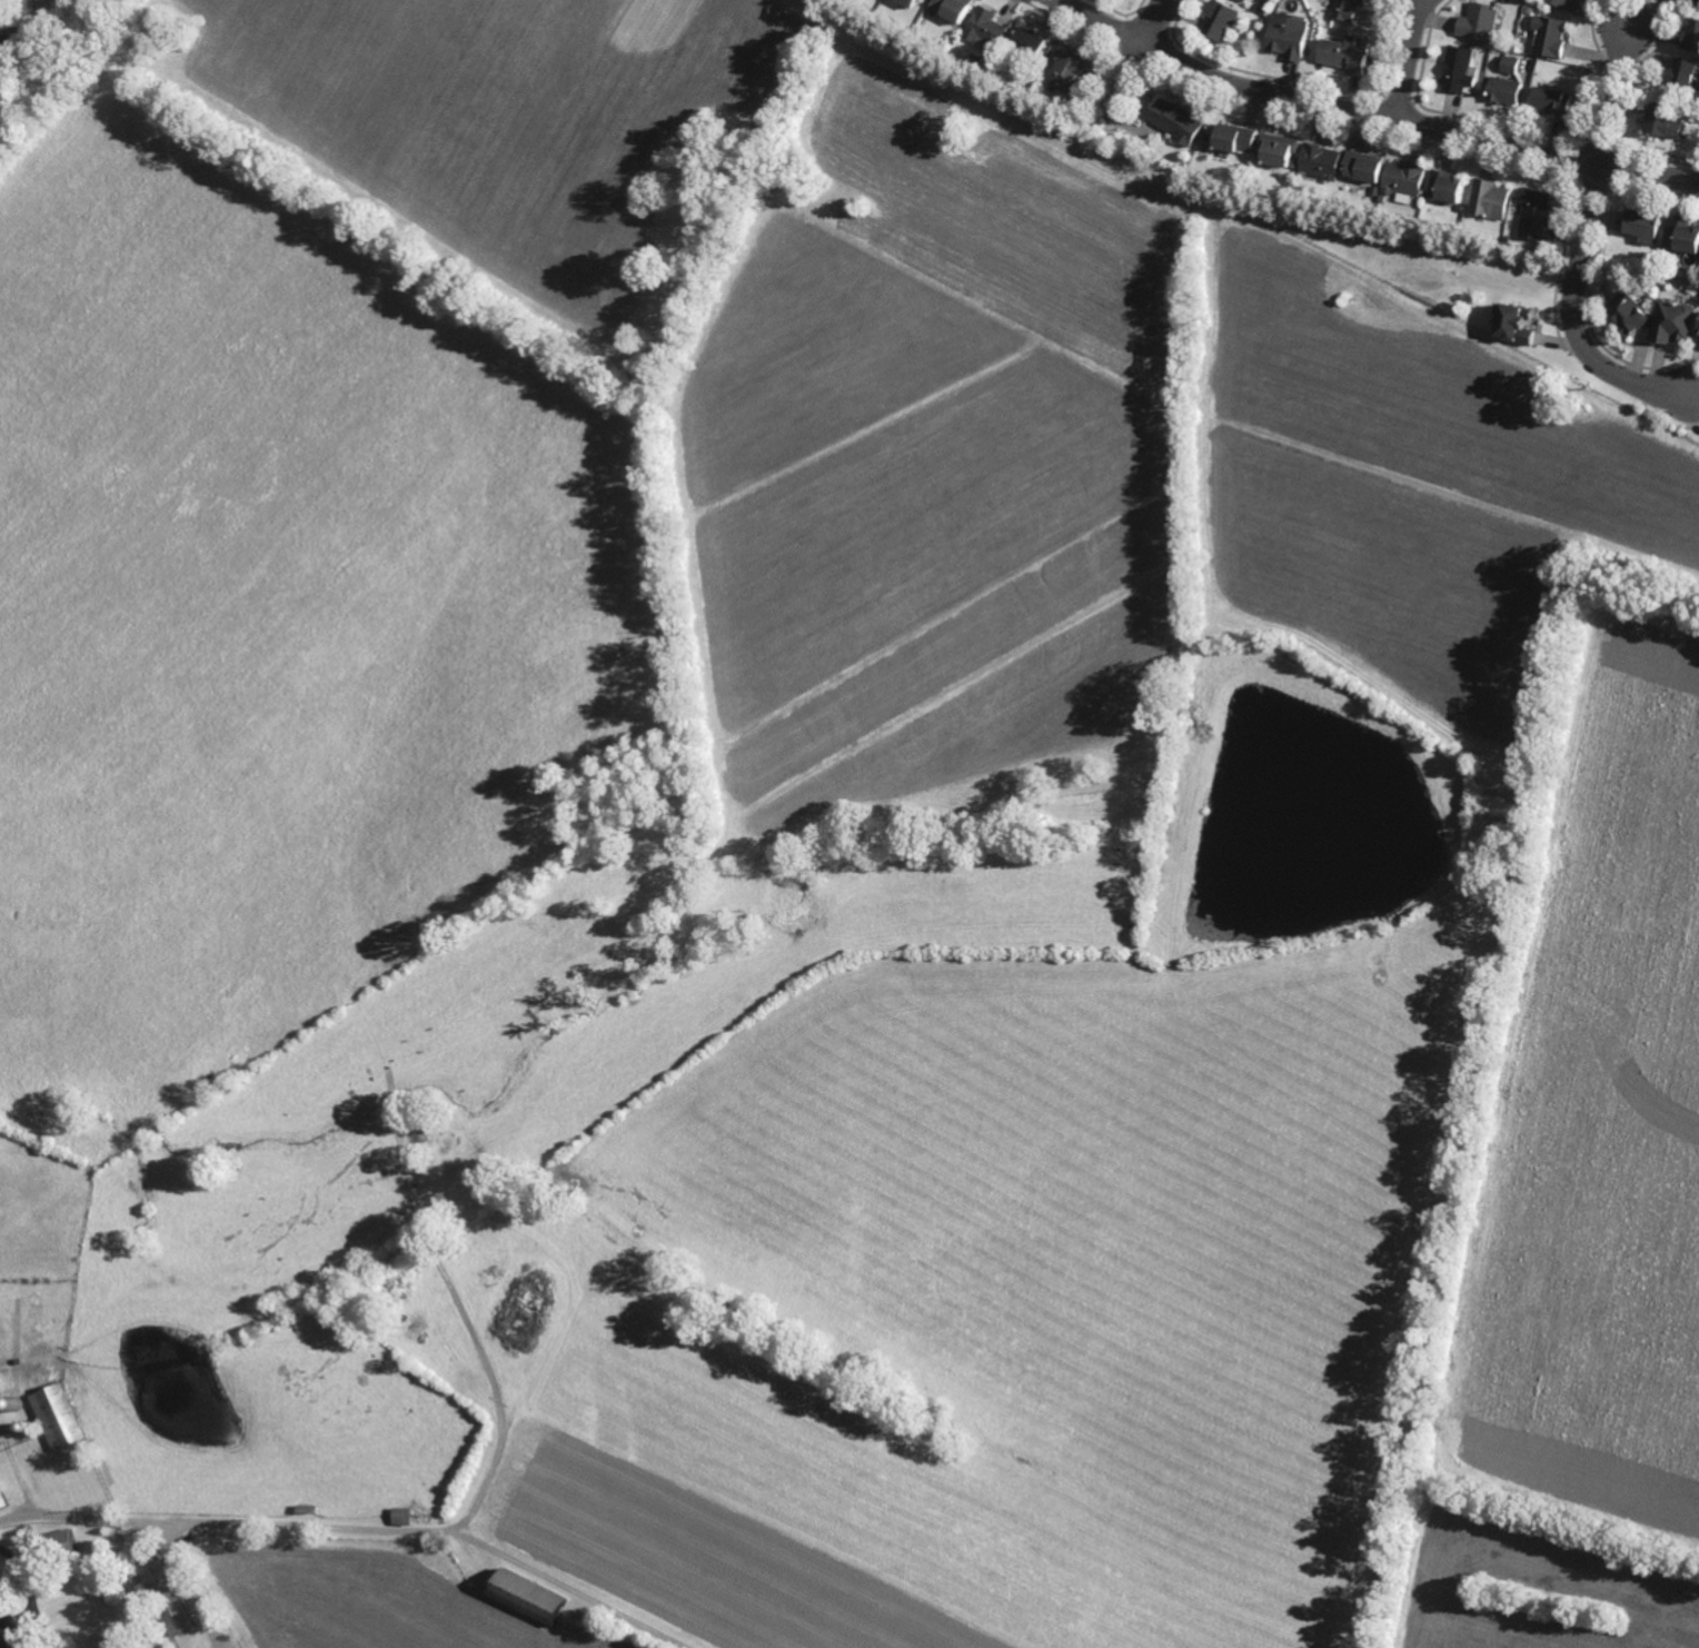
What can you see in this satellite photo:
building: (1244, 0)
building: (1572, 0)
building: (911, 2)
building: (1560, 2)
building: (1695, 2)
building: (954, 8)
building: (1348, 9)
building: (1263, 10)
building: (1529, 10)
building: (1221, 19)
building: (1260, 21)
building: (1479, 21)
building: (987, 28)
building: (1692, 33)
building: (1550, 34)
building: (1289, 38)
building: (1030, 41)
building: (1345, 52)
road: (1134, 59)
road: (1407, 59)
building: (1511, 63)
building: (1459, 68)
building: (1067, 69)
building: (1682, 73)
building: (1506, 89)
building: (1553, 98)
road: (1370, 113)
building: (1663, 118)
building: (1176, 120)
building: (1234, 137)
building: (1276, 148)
building: (1293, 161)
building: (1319, 161)
building: (1363, 165)
building: (1403, 177)
building: (1259, 181)
building: (1444, 186)
building: (1374, 189)
building: (1489, 199)
building: (1536, 212)
building: (1458, 217)
building: (1643, 224)
building: (1500, 225)
building: (1683, 235)
road: (1583, 244)
building: (1629, 312)
building: (1675, 320)
building: (1514, 322)
building: (1698, 330)
building: (59, 1416)
road: (356, 1528)
building: (58, 1542)
road: (187, 1588)
building: (165, 1591)
building: (529, 1596)
building: (9, 1634)

